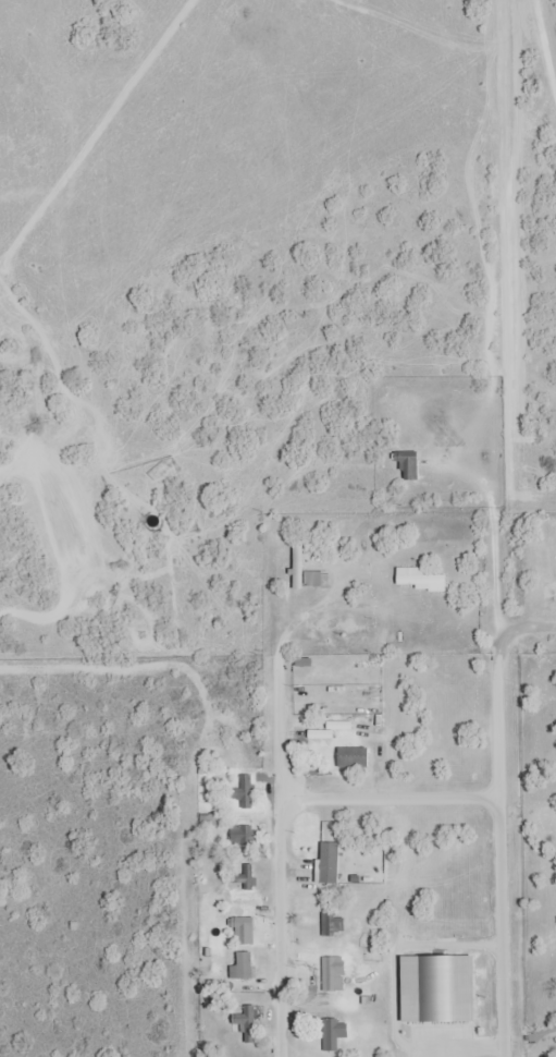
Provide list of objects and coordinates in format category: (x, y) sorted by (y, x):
building: (317, 579)
building: (421, 579)
building: (332, 728)
building: (354, 757)
building: (247, 795)
road: (392, 797)
building: (245, 836)
road: (502, 855)
road: (282, 856)
building: (330, 862)
building: (246, 876)
building: (336, 925)
building: (246, 930)
building: (335, 973)
building: (246, 975)
building: (334, 1033)

